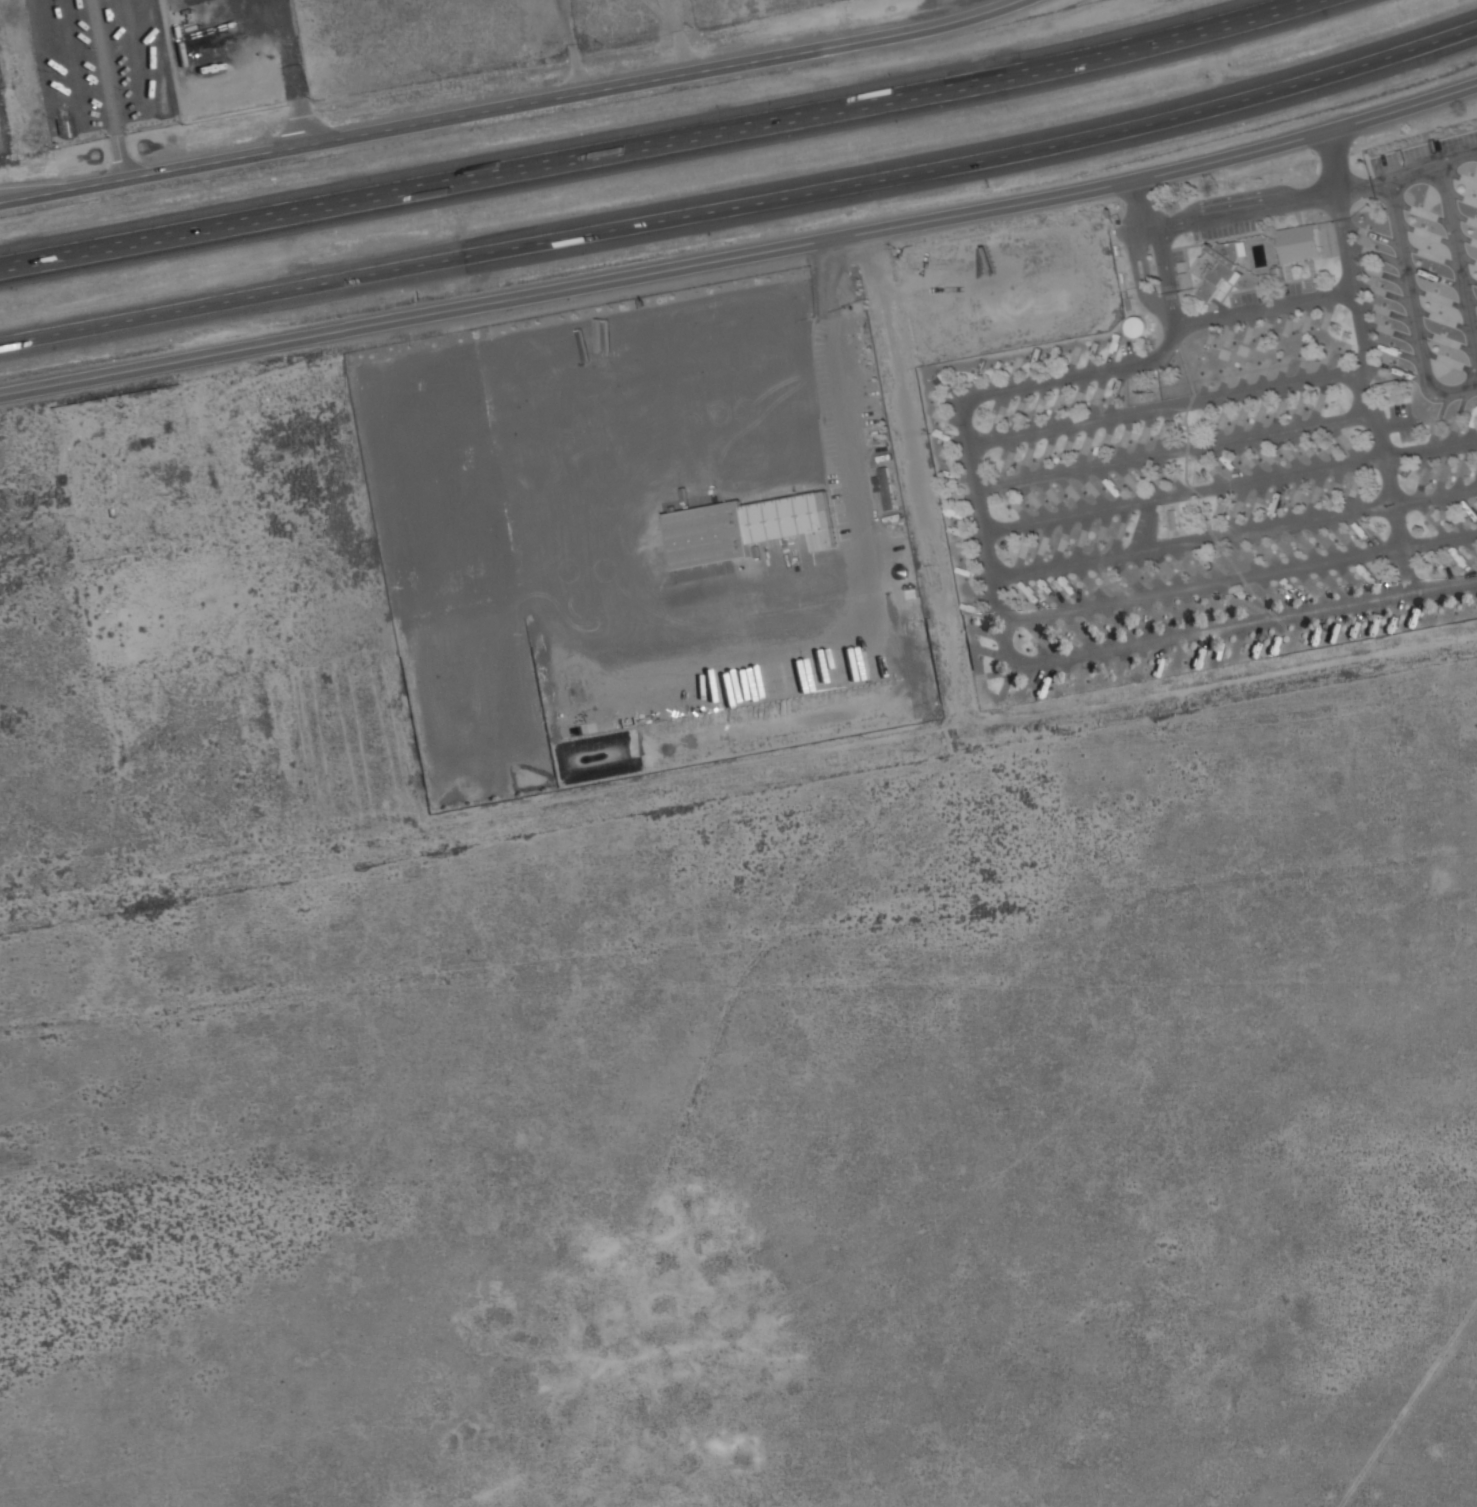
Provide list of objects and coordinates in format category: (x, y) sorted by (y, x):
road: (677, 34)
road: (569, 43)
parking lot: (106, 70)
road: (108, 85)
road: (508, 100)
parking lot: (7, 114)
road: (655, 140)
road: (1335, 159)
road: (1433, 169)
road: (1364, 187)
road: (1139, 205)
road: (1247, 207)
road: (743, 209)
flagpole: (1083, 217)
road: (1346, 240)
building: (1299, 243)
building: (1229, 250)
road: (742, 253)
building: (1222, 256)
road: (1458, 265)
building: (1223, 273)
building: (1207, 275)
road: (1412, 308)
building: (1140, 327)
storage tank: (1140, 327)
road: (1363, 352)
road: (987, 392)
road: (1166, 408)
road: (1430, 448)
road: (1173, 453)
road: (857, 489)
building: (883, 489)
road: (1184, 494)
road: (1434, 496)
building: (745, 528)
road: (1193, 540)
road: (1239, 578)
building: (460, 616)
road: (1256, 621)
road: (1408, 1404)

